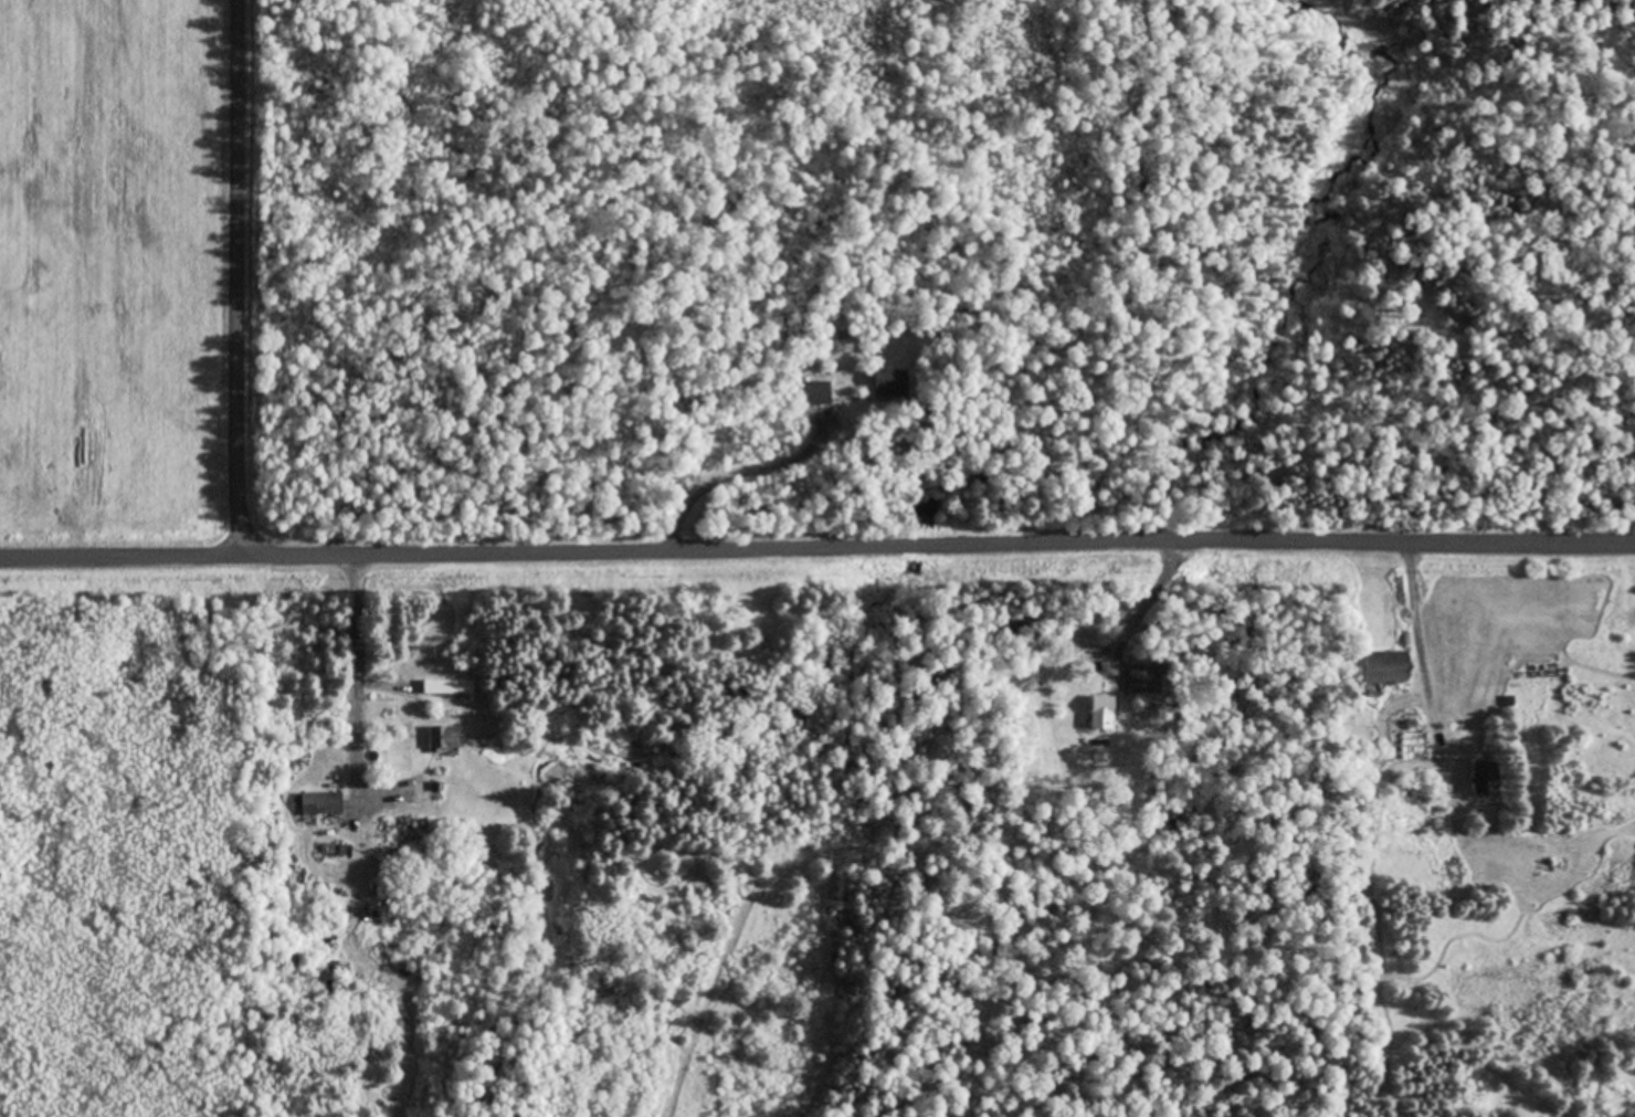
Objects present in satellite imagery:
crop: (115, 273)
road: (235, 280)
building: (892, 384)
building: (819, 394)
road: (818, 550)
building: (1394, 670)
building: (1144, 677)
building: (451, 688)
building: (1105, 713)
building: (1359, 727)
building: (449, 738)
building: (1488, 780)
building: (324, 804)

